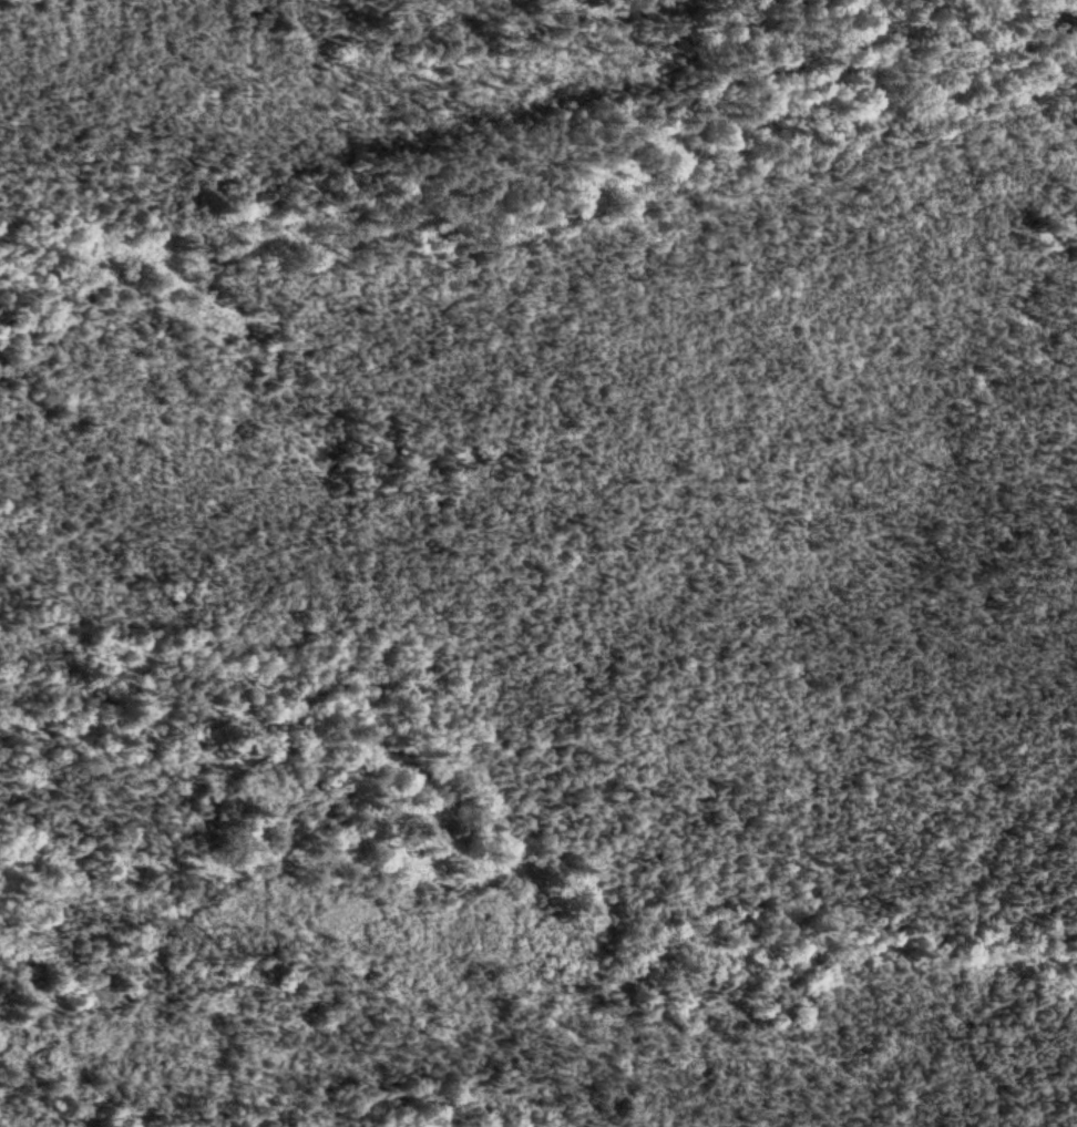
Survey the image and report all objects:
road: (544, 154)

